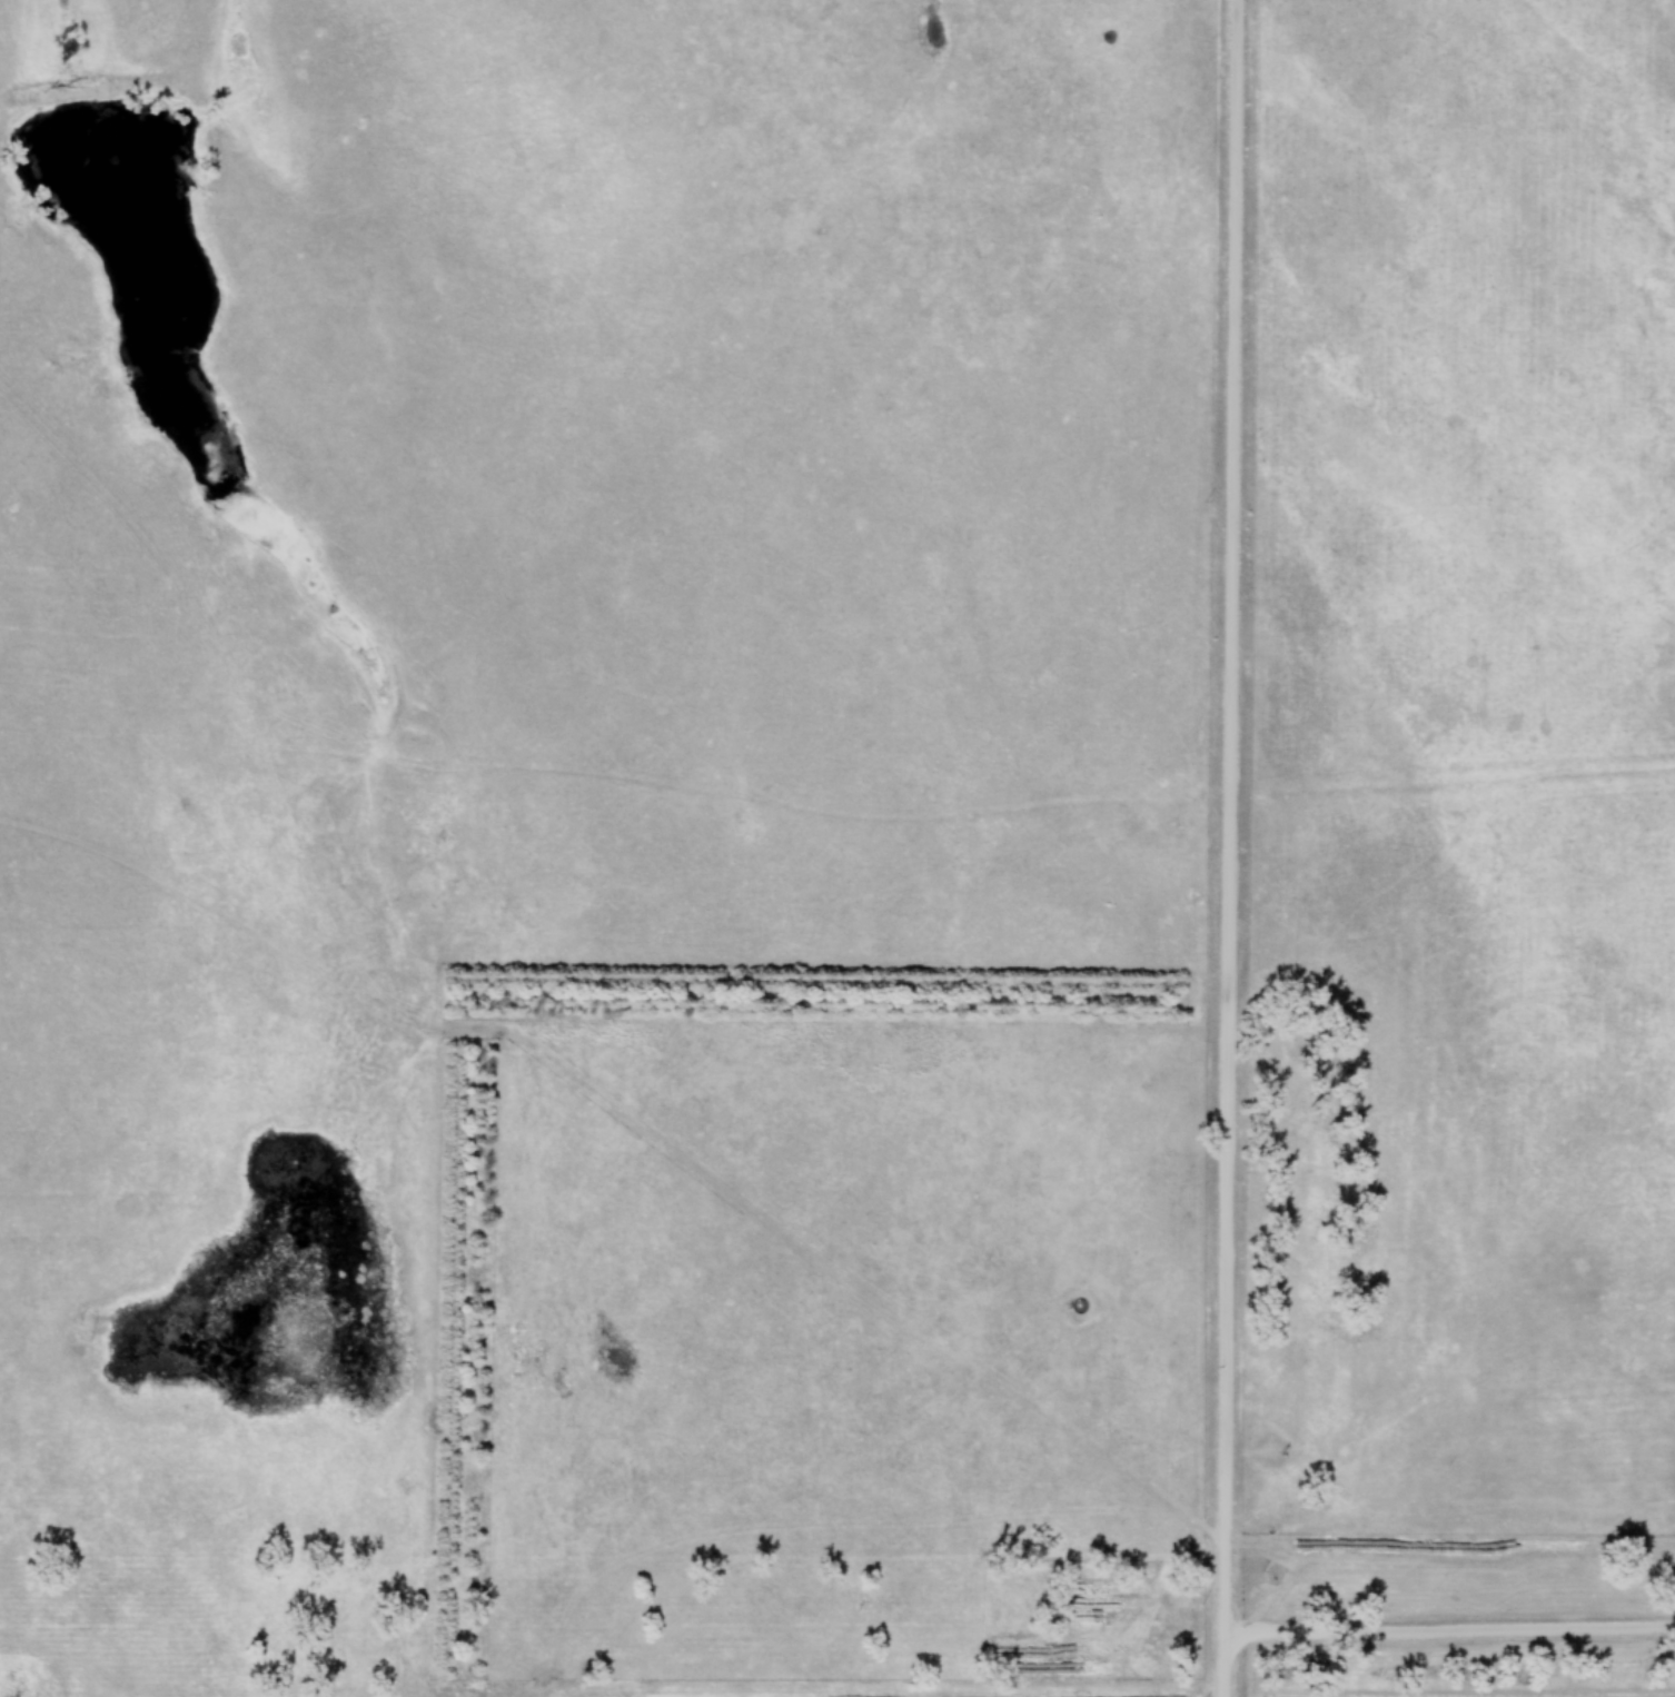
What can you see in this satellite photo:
road: (1227, 847)
road: (1450, 1635)

